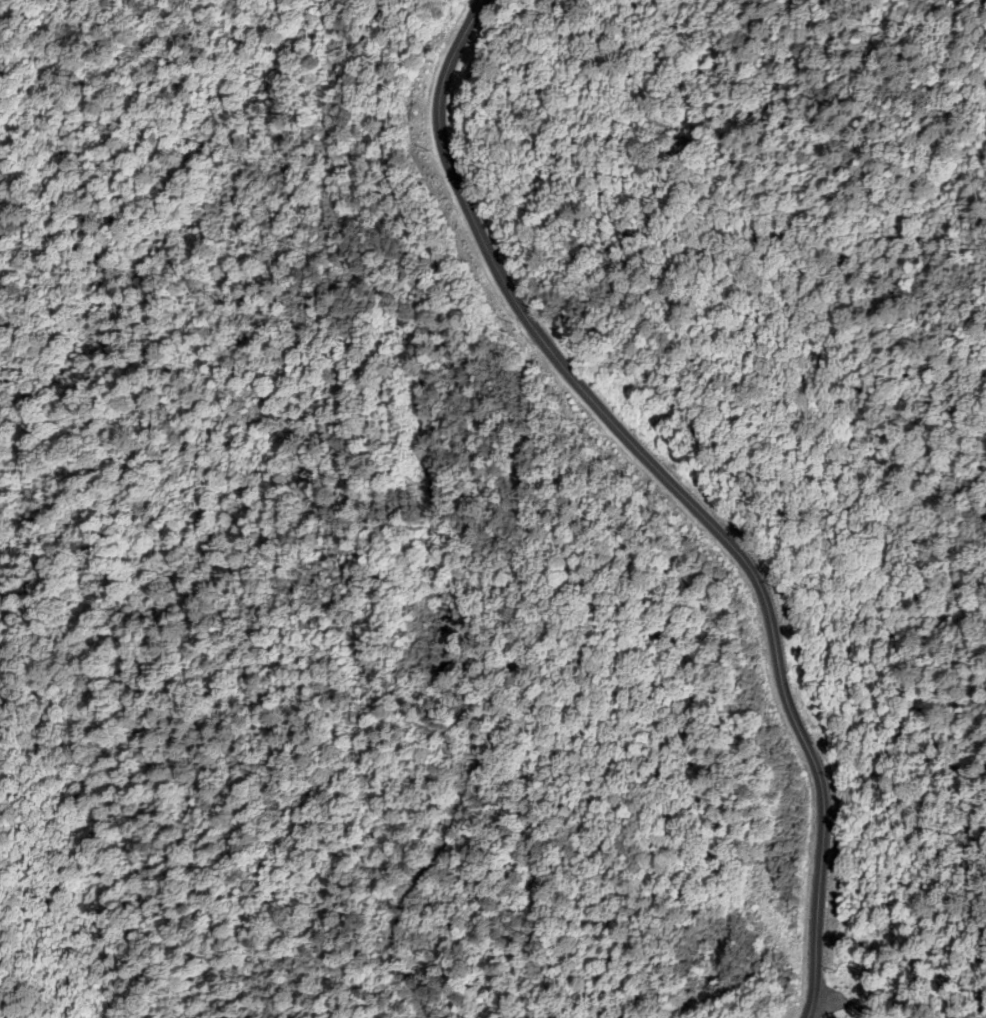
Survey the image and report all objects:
road: (678, 486)
road: (842, 1001)

